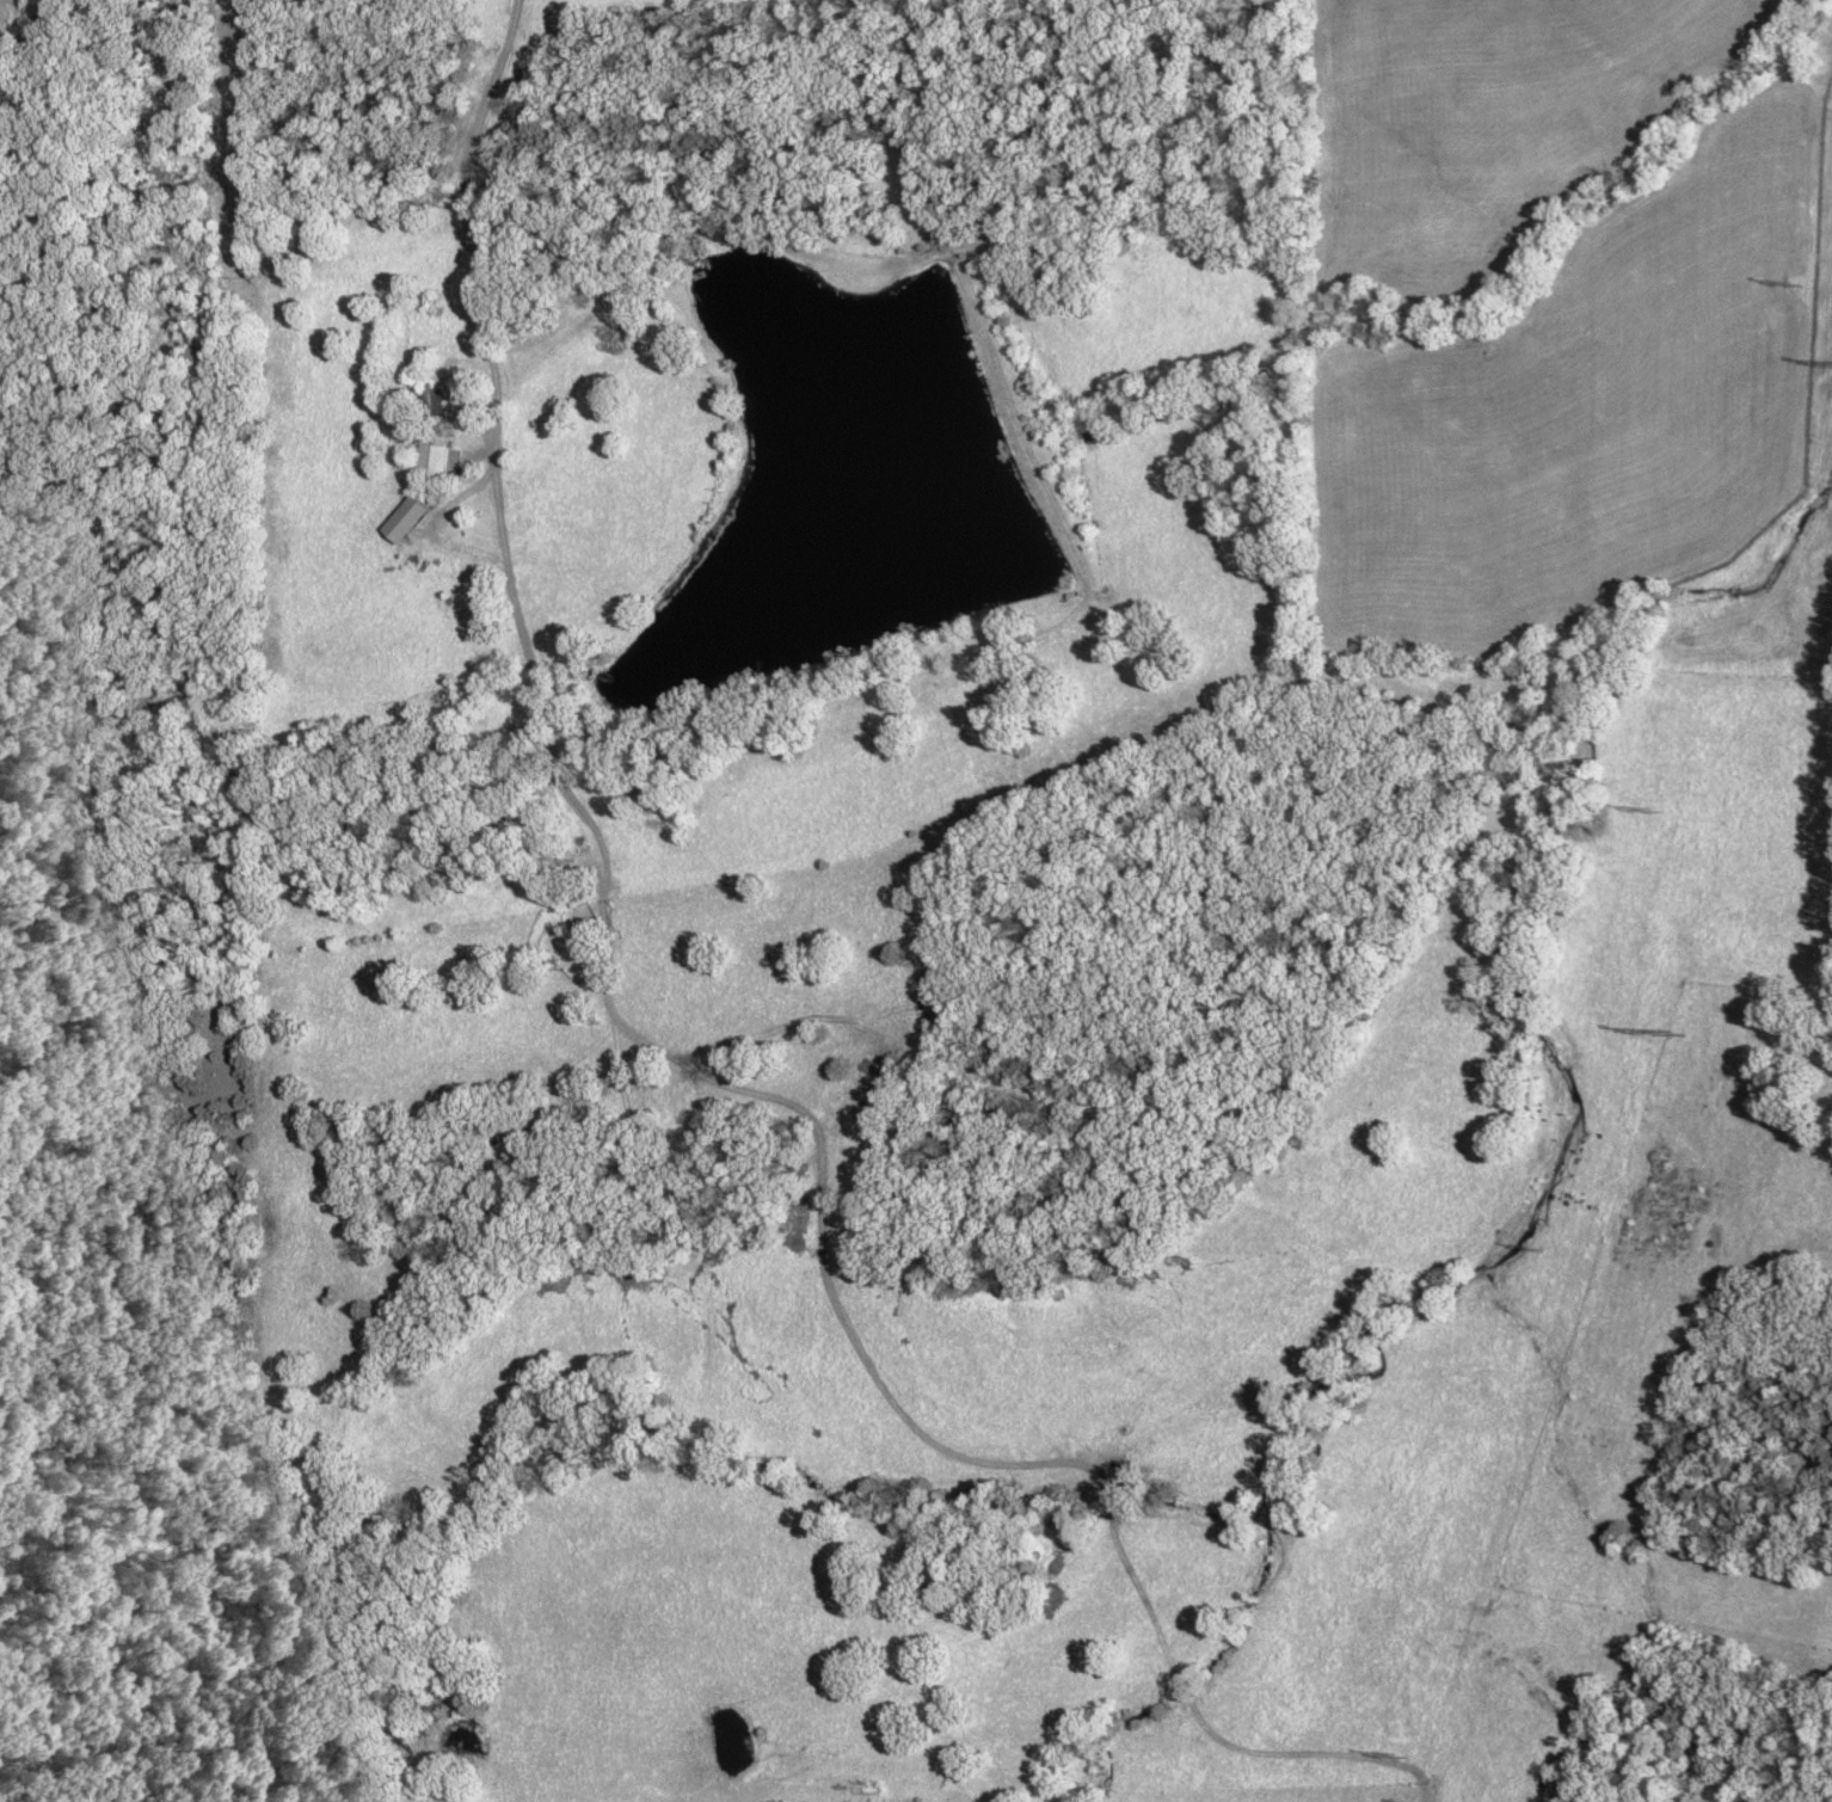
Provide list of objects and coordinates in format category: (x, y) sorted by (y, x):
road: (491, 359)
building: (430, 400)
building: (429, 461)
building: (402, 518)
power tower: (1670, 1034)
power tower: (1453, 1797)

